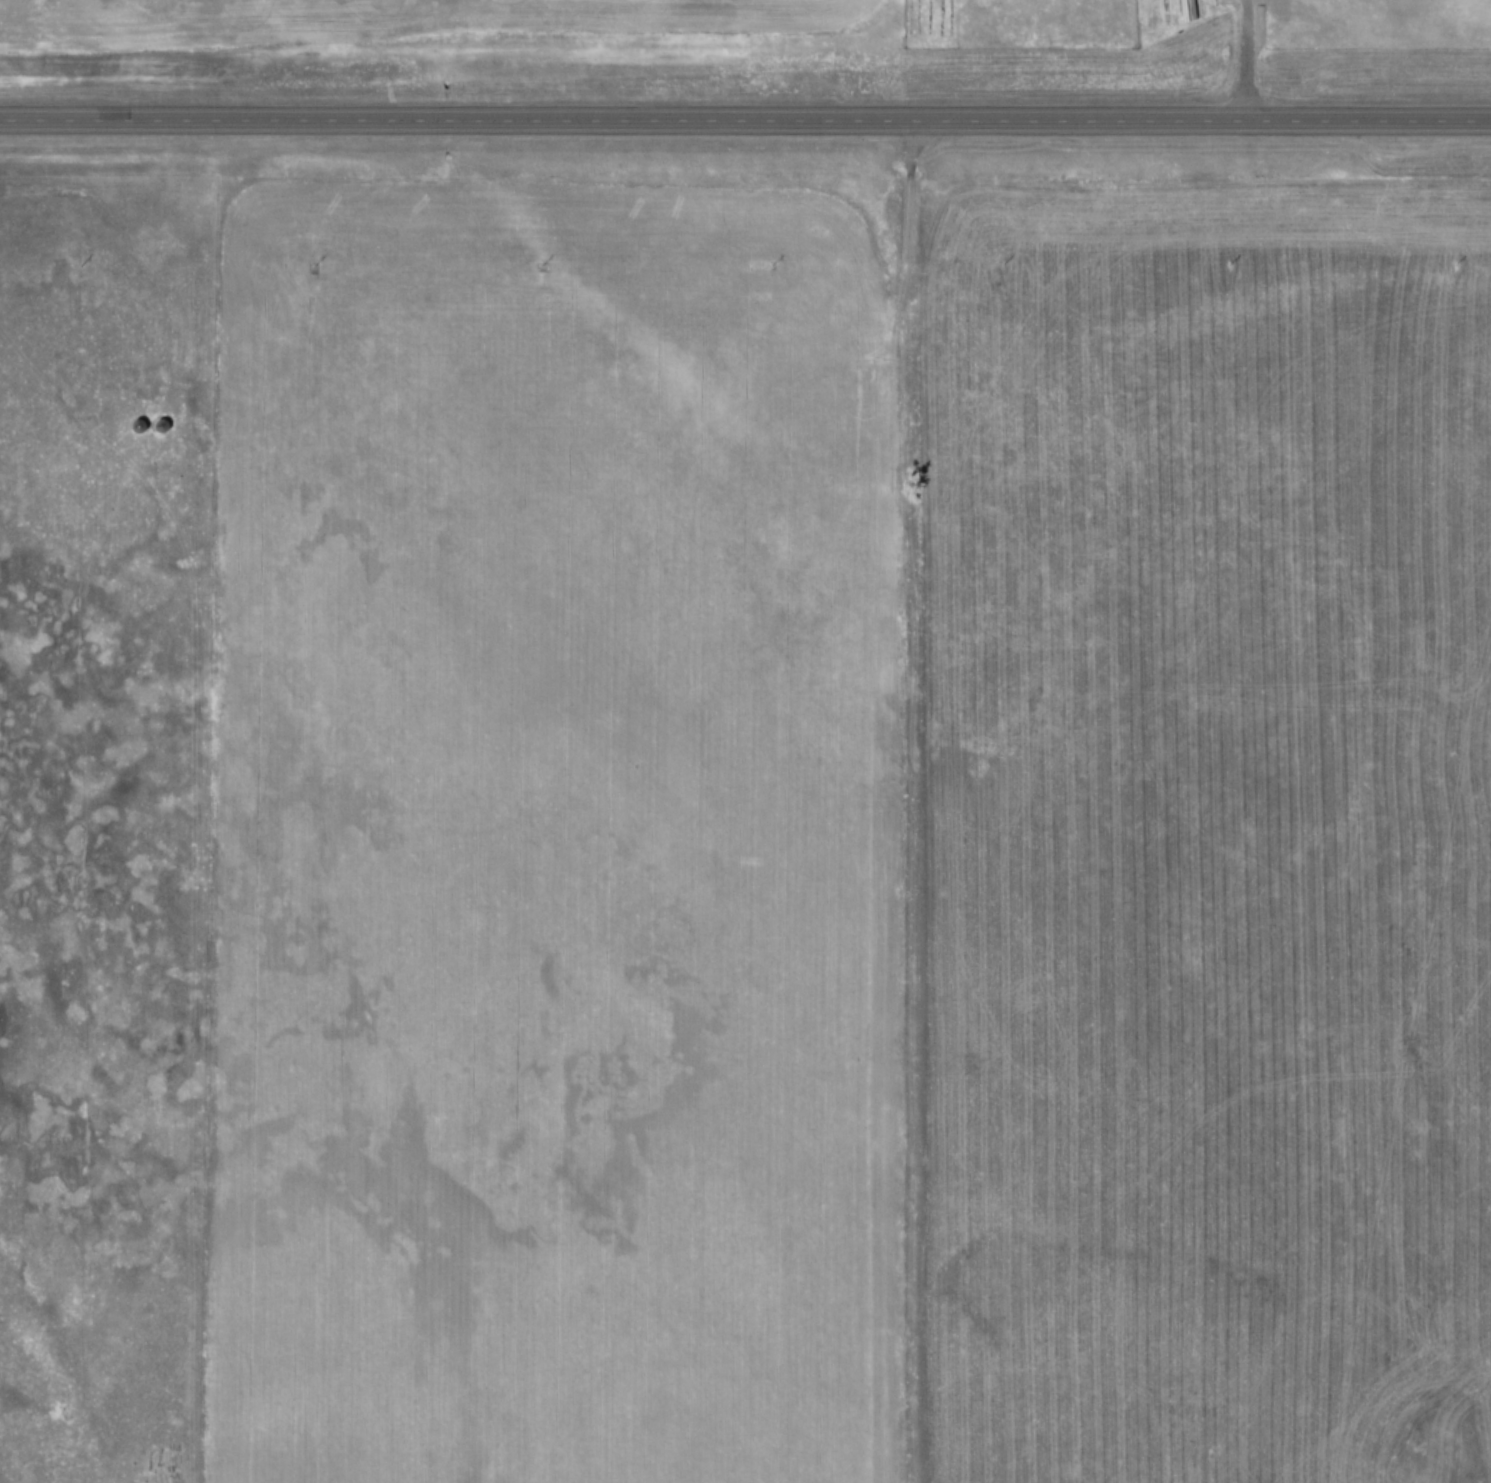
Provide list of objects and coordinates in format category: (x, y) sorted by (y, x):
road: (745, 127)
road: (895, 805)

